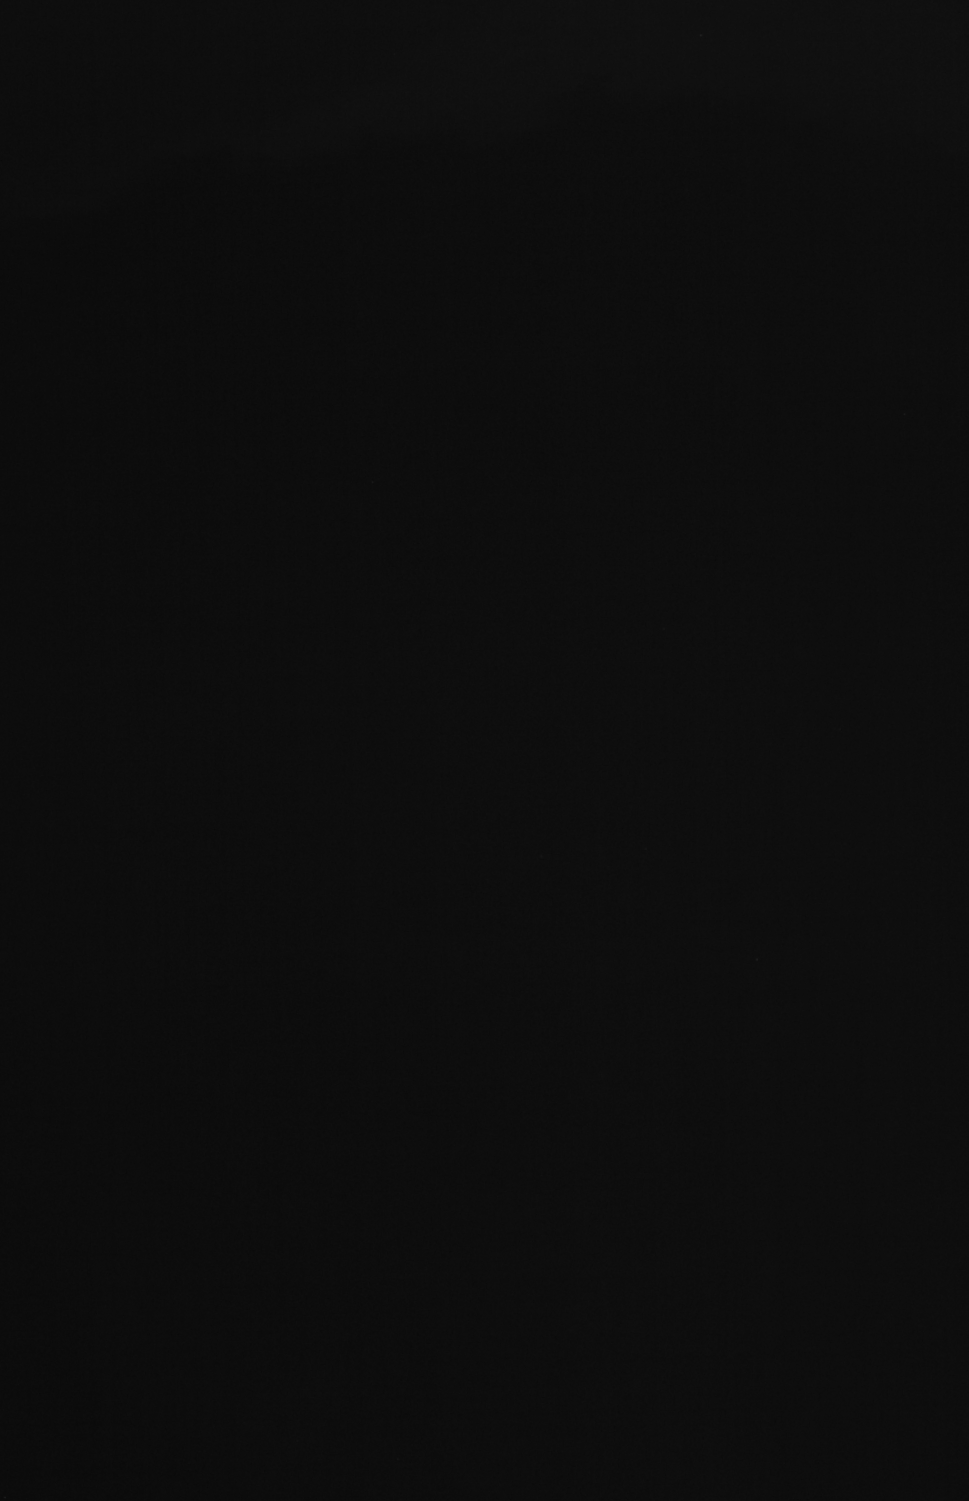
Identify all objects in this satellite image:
river: (484, 345)

